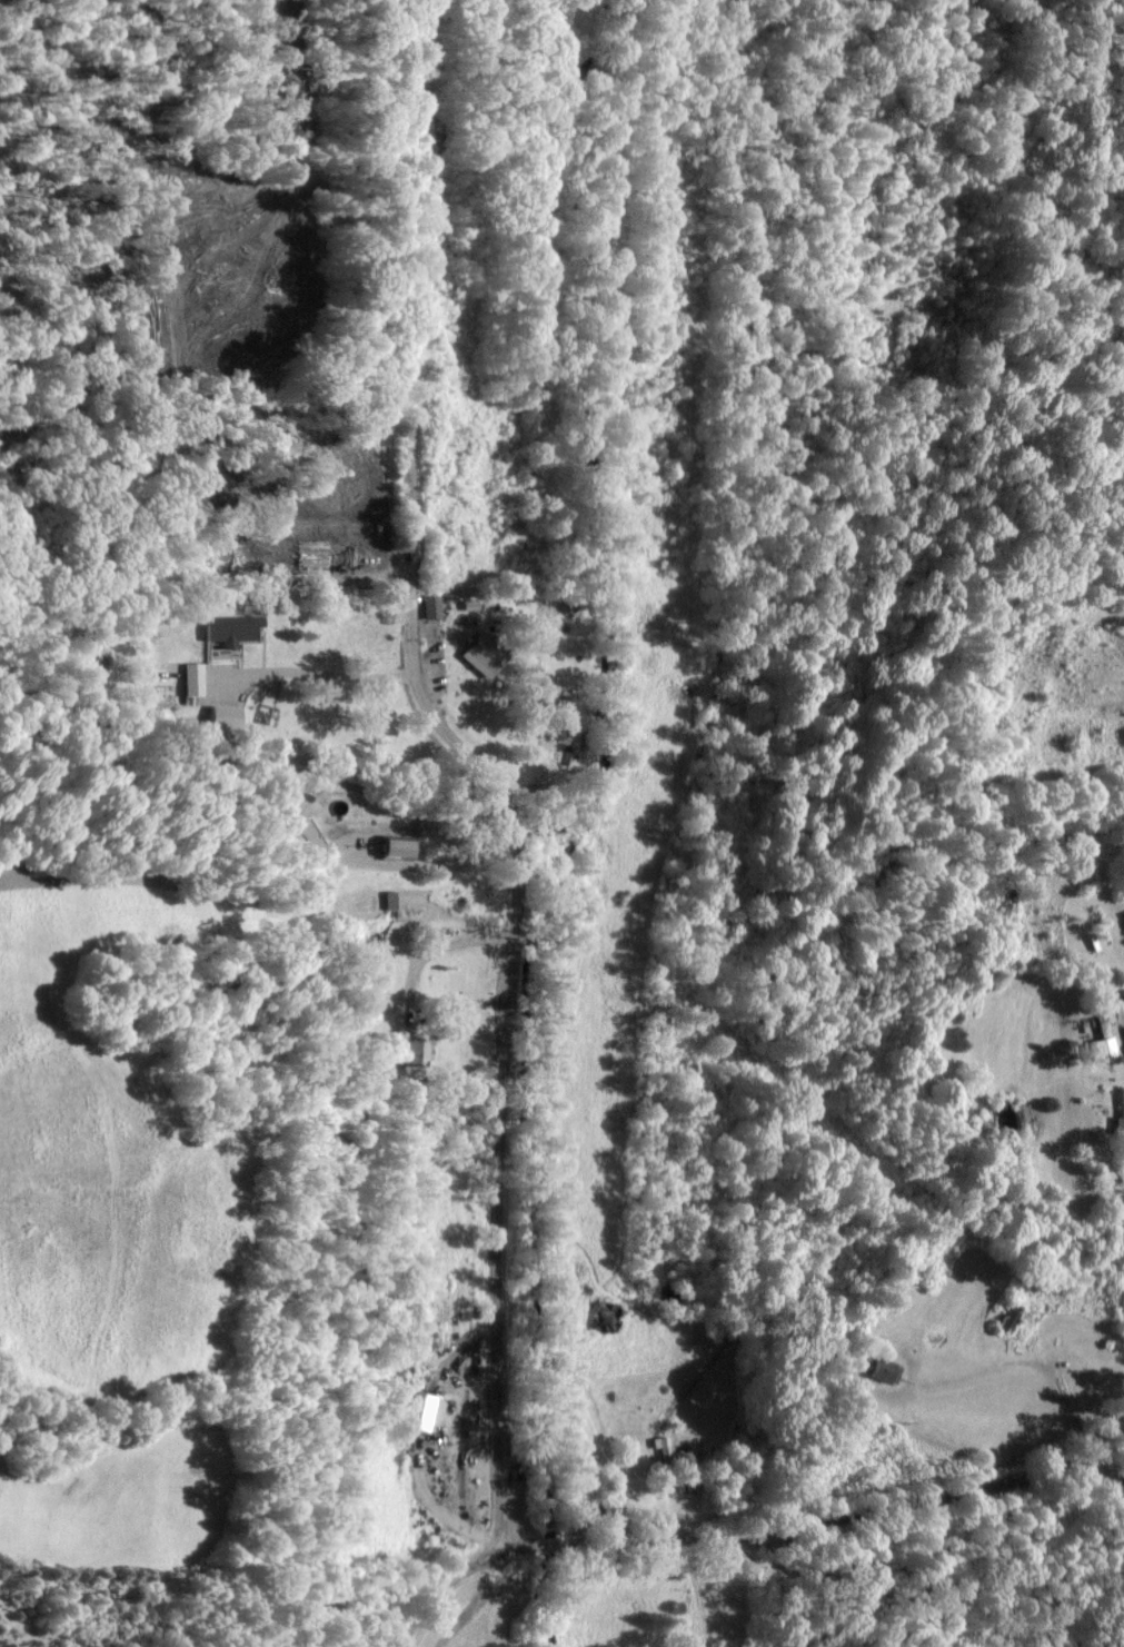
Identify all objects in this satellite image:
road: (408, 449)
building: (430, 605)
building: (483, 655)
road: (322, 677)
building: (191, 678)
building: (252, 730)
building: (351, 837)
road: (530, 869)
road: (420, 873)
building: (1103, 1039)
building: (417, 1048)
building: (1122, 1112)
road: (495, 1208)
building: (1005, 1314)
building: (603, 1319)
building: (884, 1370)
road: (1073, 1420)
road: (817, 1519)
road: (441, 1585)

